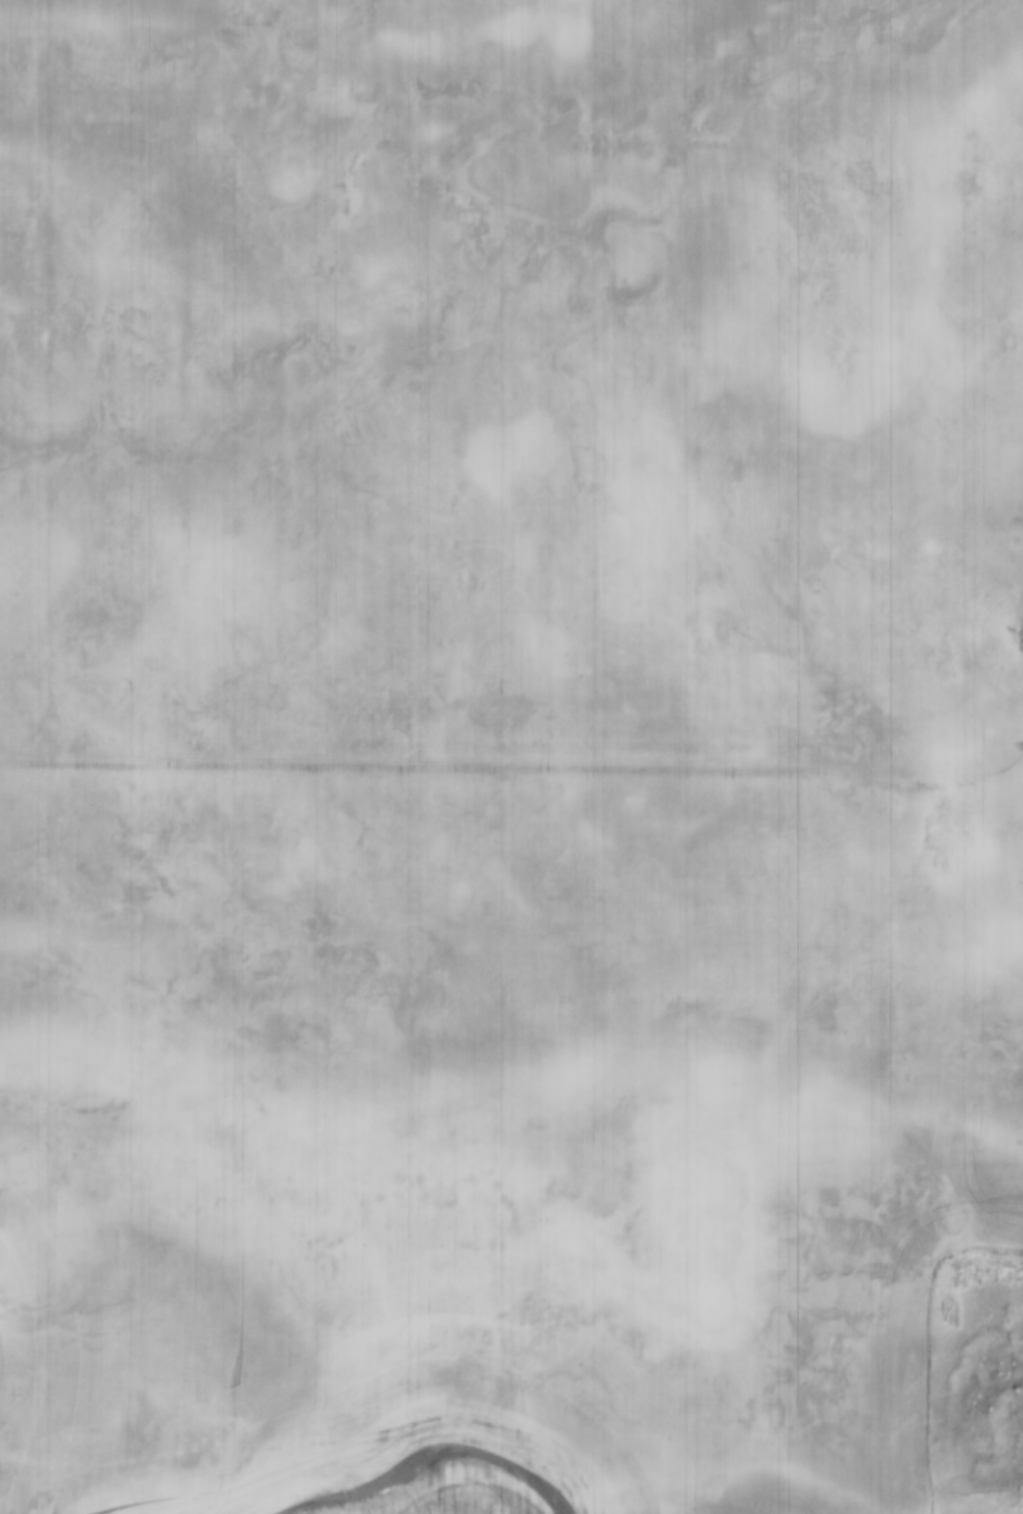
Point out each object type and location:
quarry: (975, 1381)

